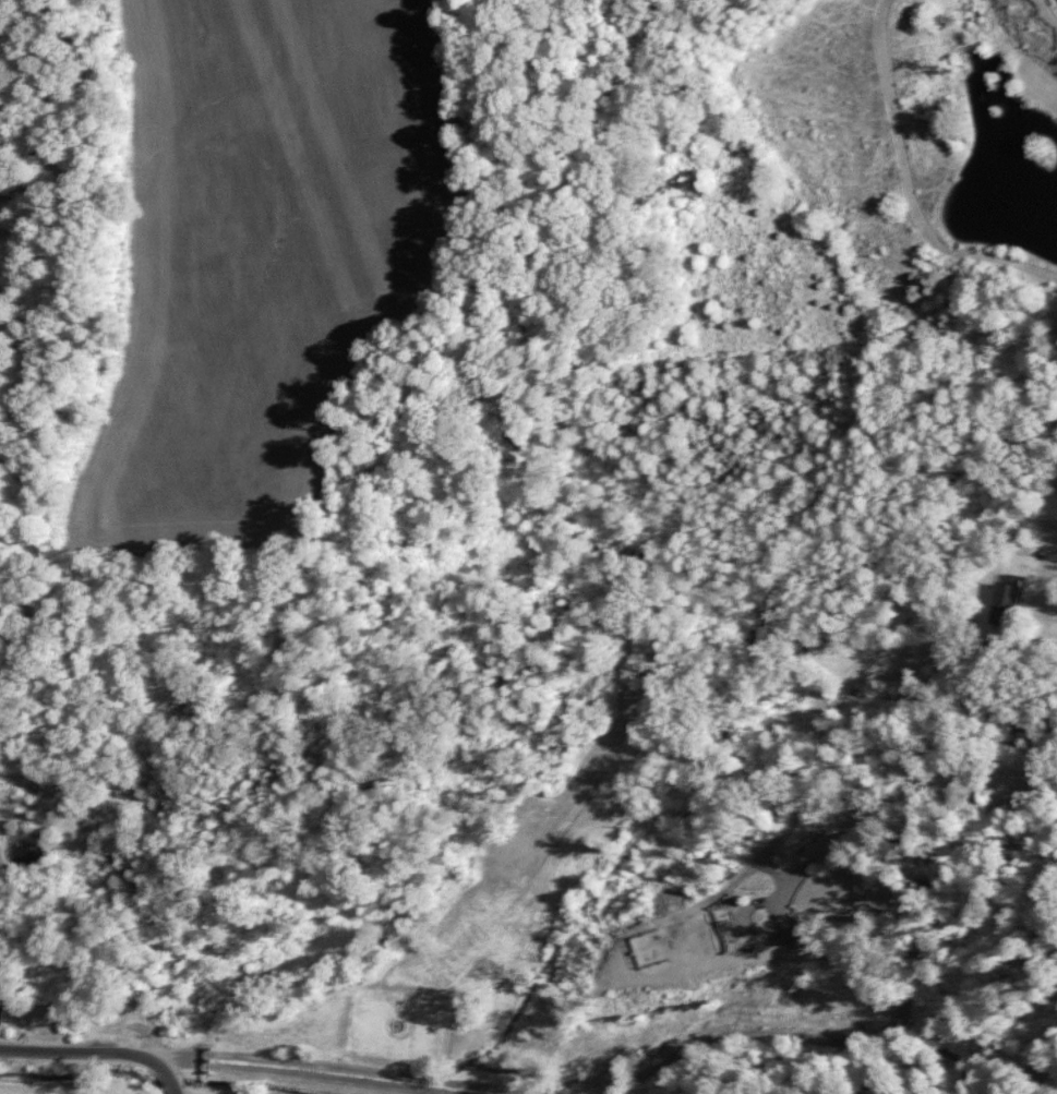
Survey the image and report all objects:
building: (1004, 599)
road: (144, 798)
building: (660, 943)
building: (0, 1011)
building: (106, 1013)
road: (99, 1055)
road: (497, 1059)

